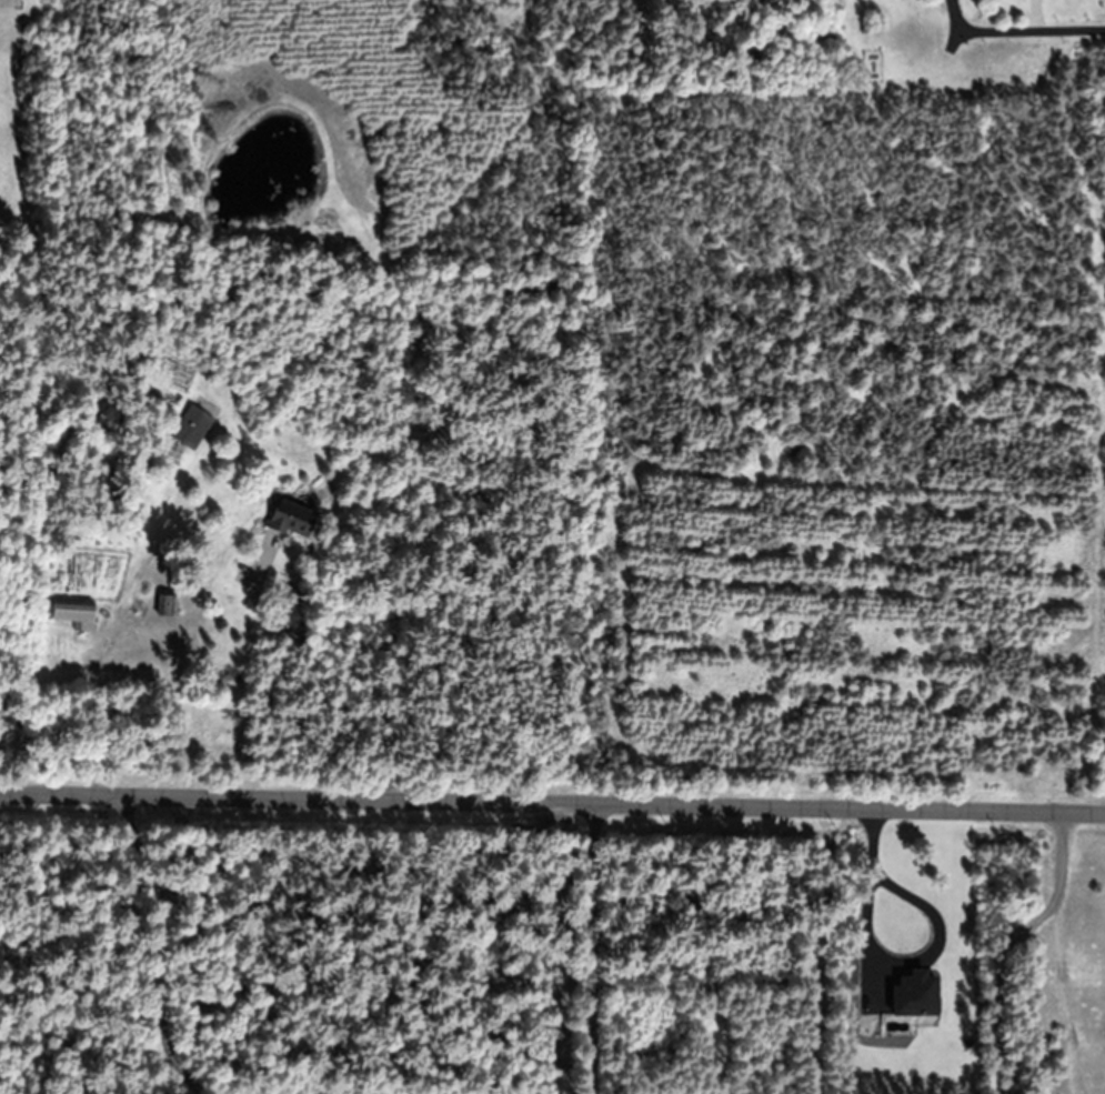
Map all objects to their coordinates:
road: (1016, 27)
building: (191, 428)
building: (291, 520)
building: (165, 606)
building: (74, 615)
road: (552, 804)
road: (594, 949)

